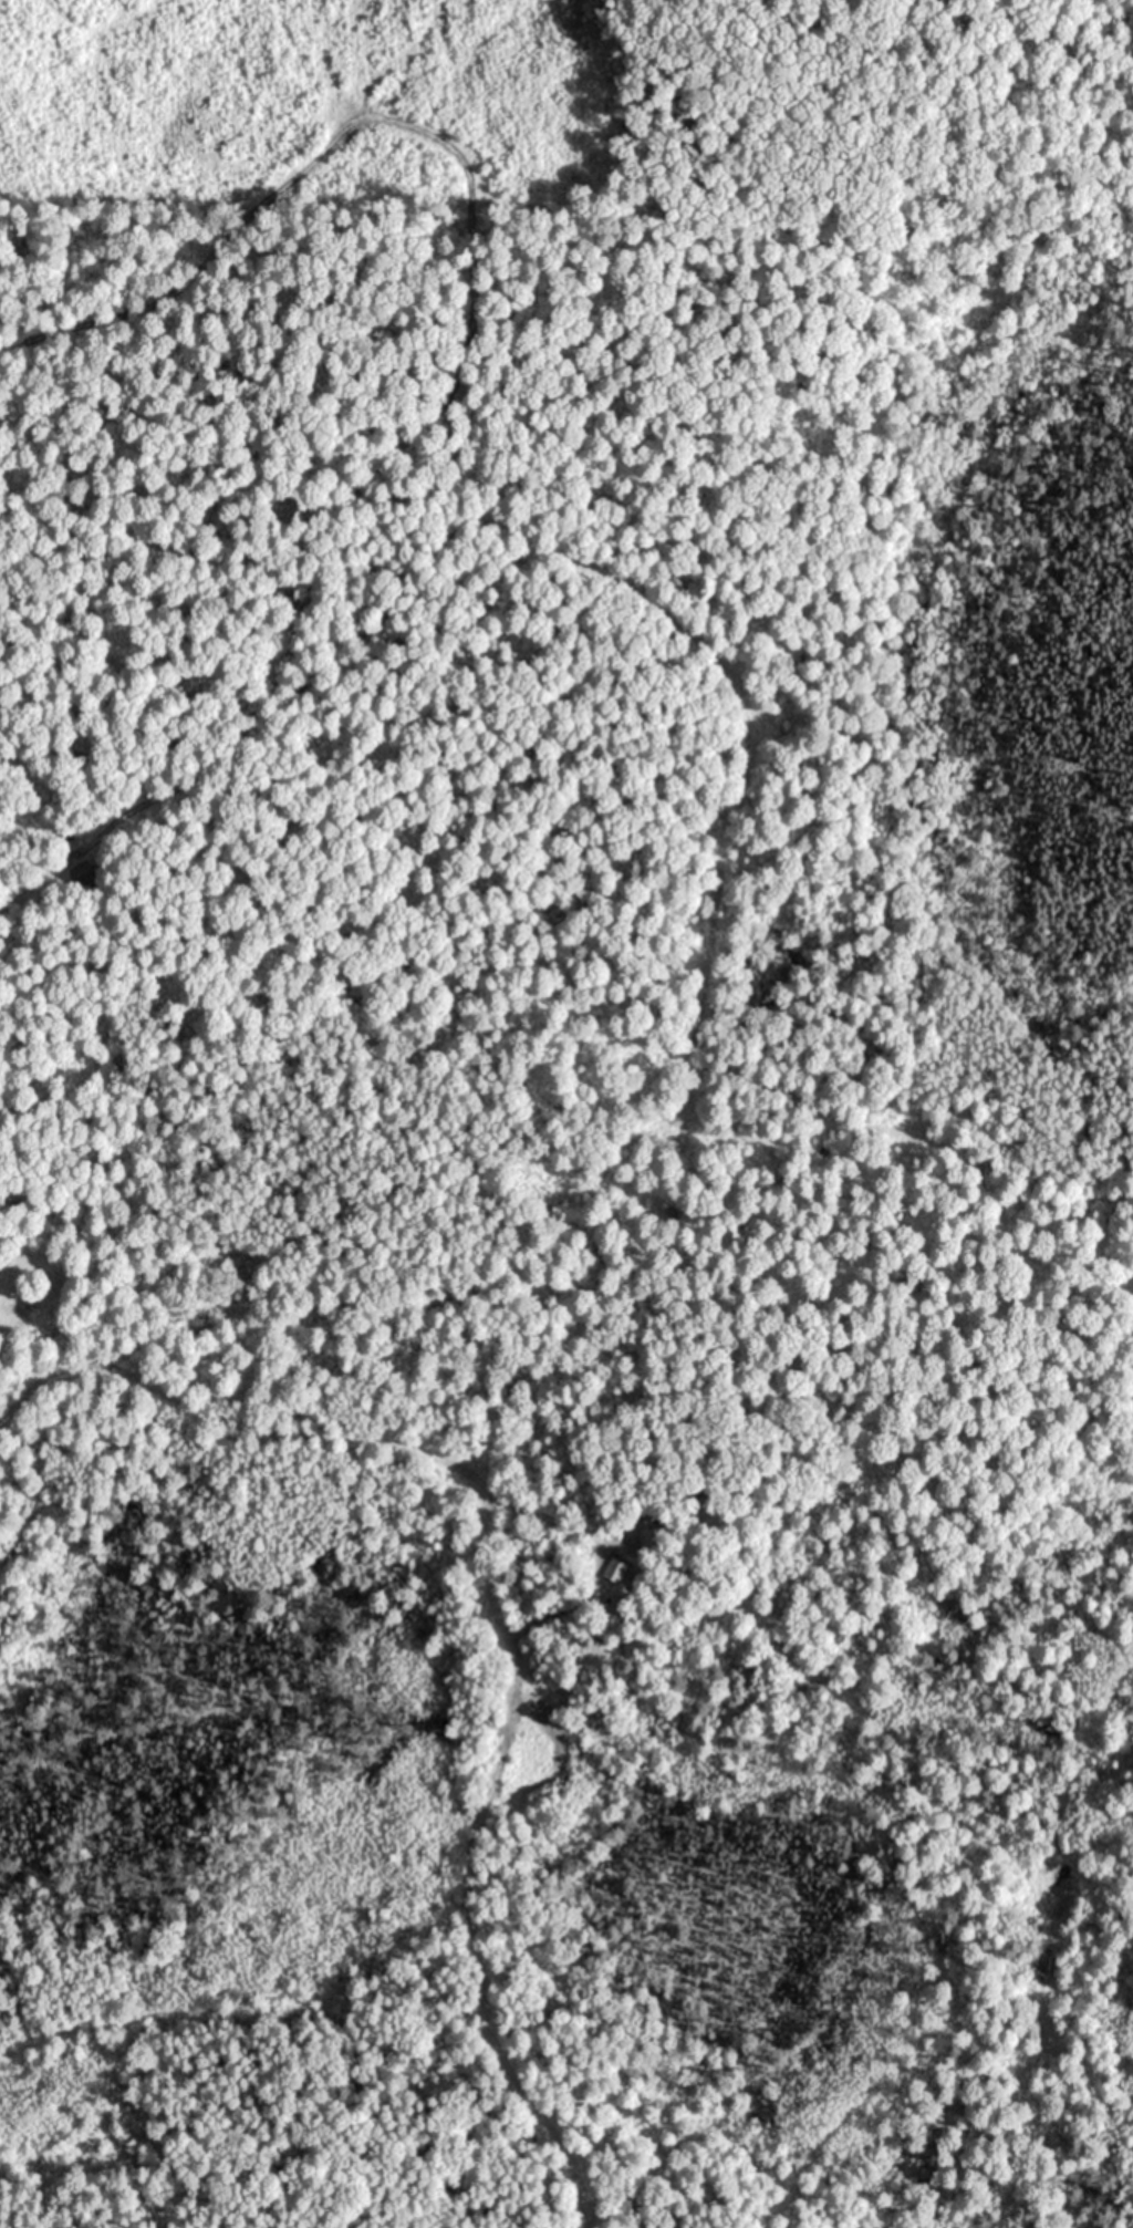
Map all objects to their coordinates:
road: (386, 1439)
road: (486, 2021)

